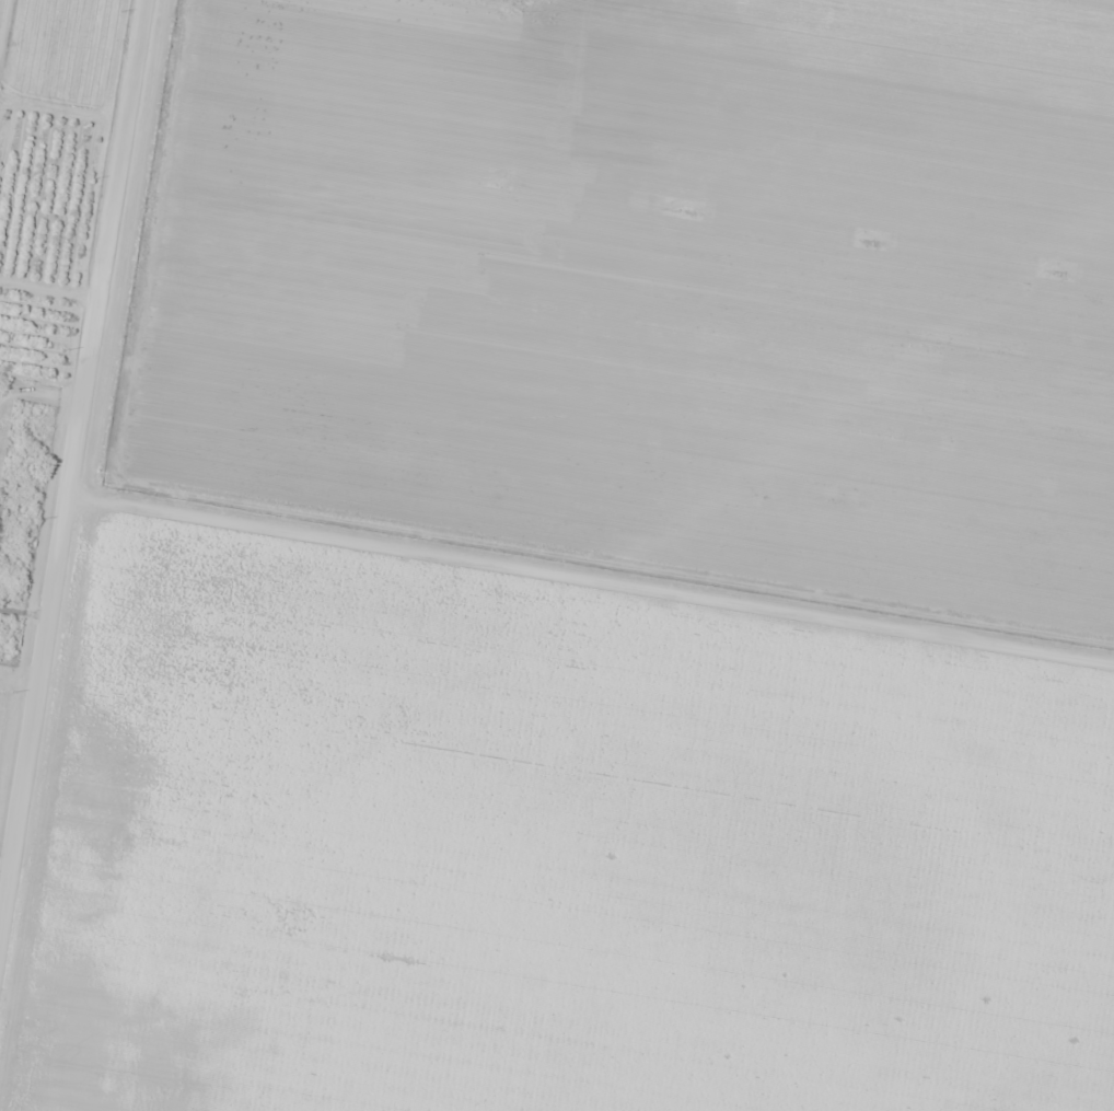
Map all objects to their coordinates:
road: (77, 440)
road: (591, 585)

